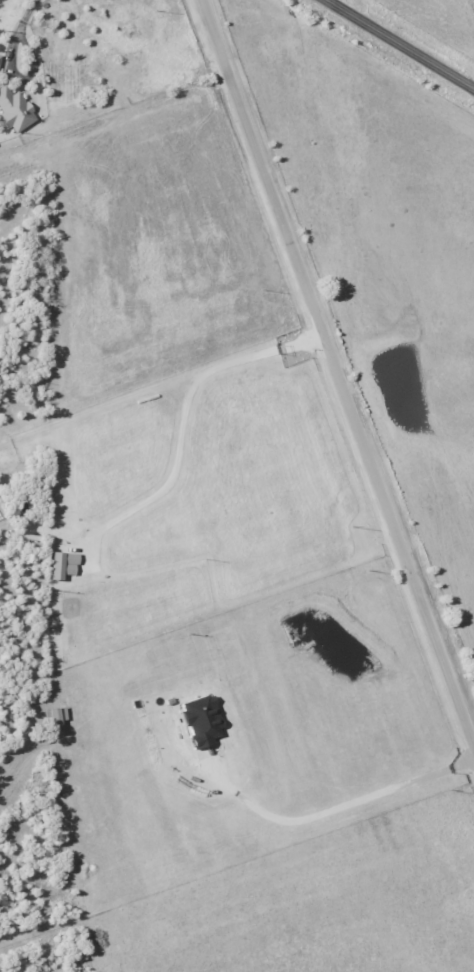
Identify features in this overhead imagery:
road: (400, 44)
building: (0, 56)
building: (14, 109)
road: (338, 370)
road: (187, 409)
building: (62, 563)
building: (201, 719)
road: (320, 815)

